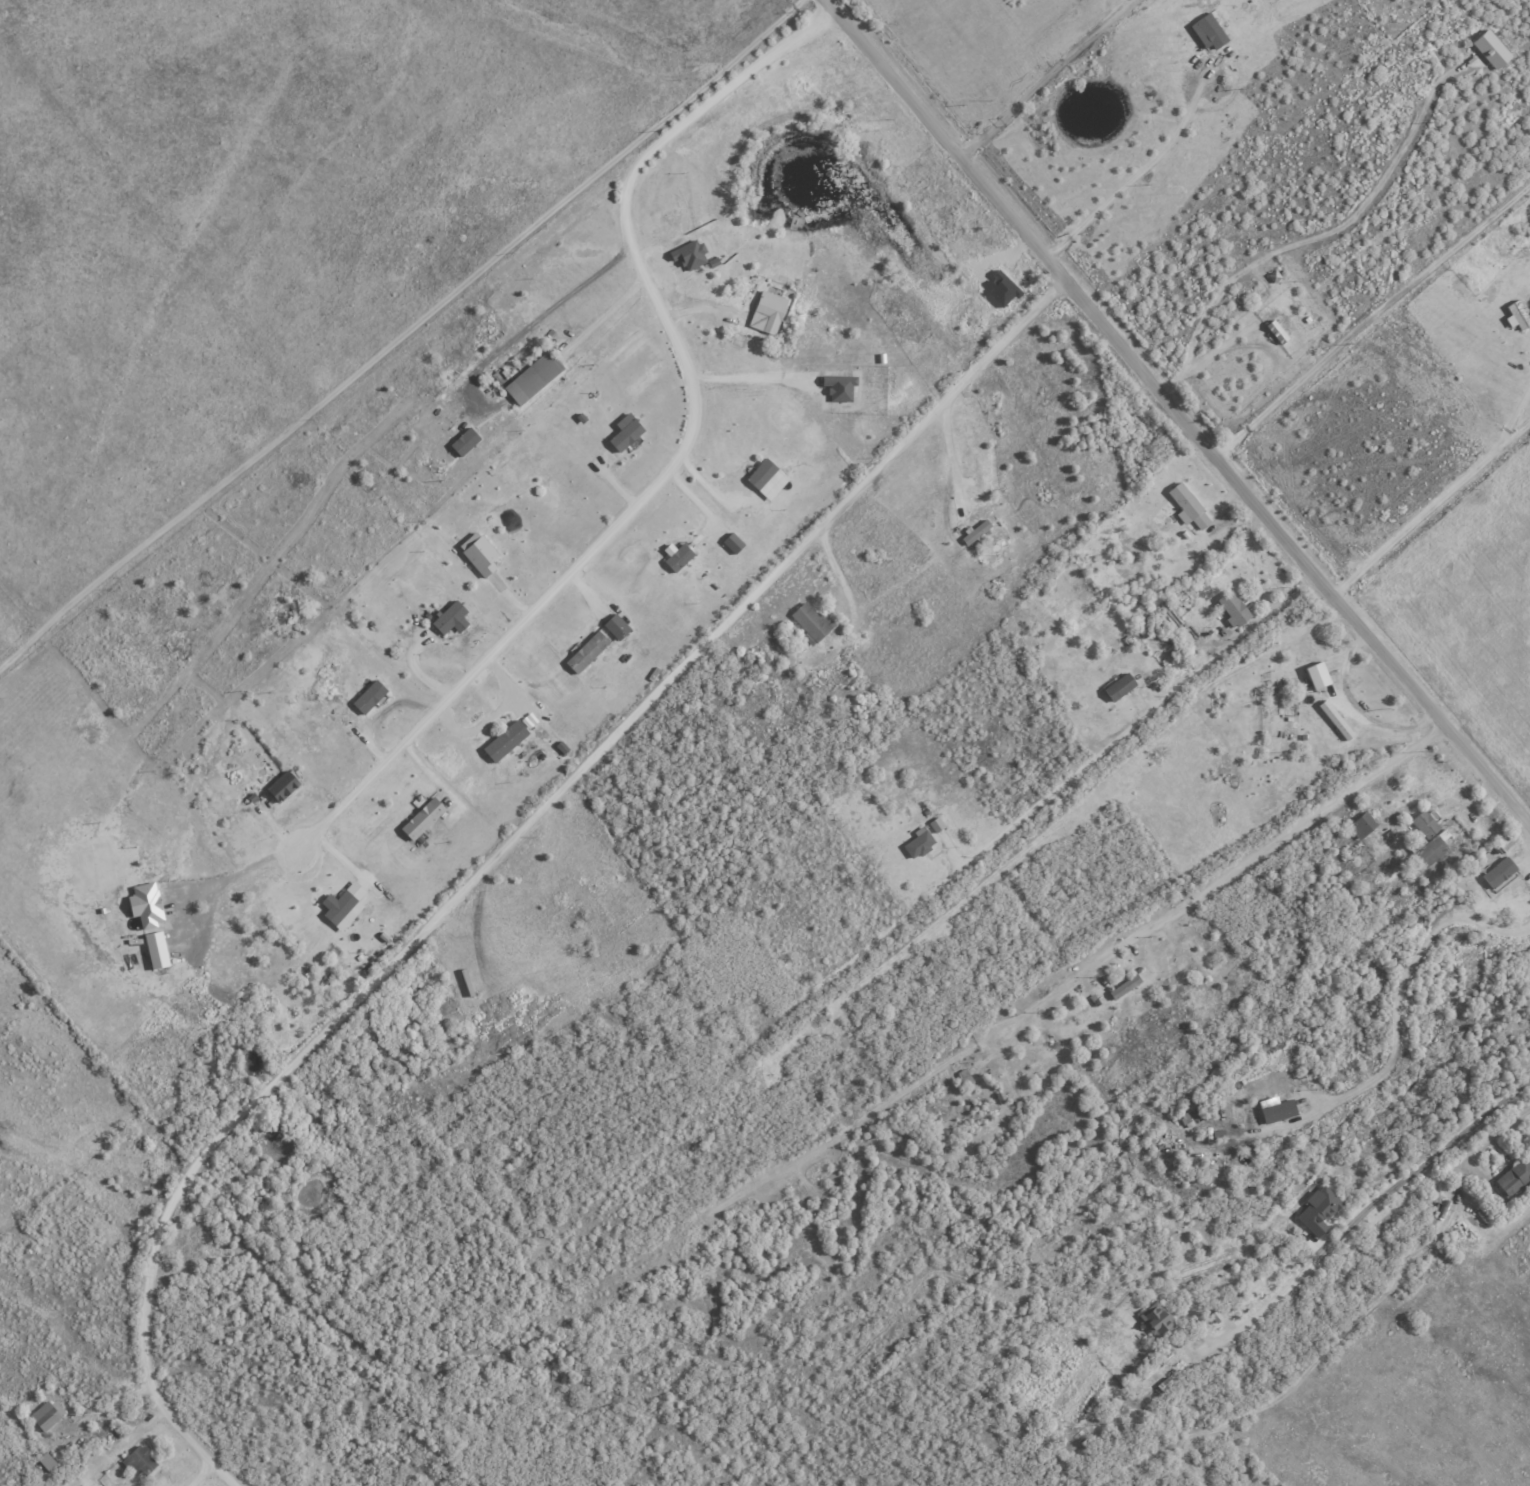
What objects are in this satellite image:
building: (1209, 32)
building: (1492, 49)
road: (1045, 79)
road: (1138, 176)
road: (1339, 228)
building: (689, 255)
building: (768, 312)
road: (607, 313)
building: (1517, 316)
road: (540, 317)
road: (1371, 320)
building: (1276, 332)
road: (401, 336)
road: (1208, 357)
building: (534, 378)
building: (838, 387)
road: (1176, 413)
road: (1514, 416)
building: (625, 433)
building: (464, 442)
road: (685, 449)
road: (948, 455)
building: (766, 479)
building: (1188, 507)
road: (1429, 507)
building: (975, 532)
building: (732, 543)
building: (479, 554)
building: (676, 557)
road: (1249, 559)
road: (845, 597)
building: (1232, 609)
building: (451, 619)
building: (811, 621)
building: (616, 627)
building: (587, 653)
building: (1316, 675)
building: (1119, 687)
building: (369, 697)
road: (1356, 708)
road: (494, 715)
building: (1336, 720)
road: (1135, 721)
building: (505, 741)
building: (282, 786)
building: (422, 819)
building: (1425, 824)
building: (936, 825)
building: (1362, 825)
building: (919, 843)
road: (502, 852)
road: (1256, 857)
building: (1498, 872)
road: (235, 873)
building: (145, 906)
building: (344, 907)
building: (156, 951)
building: (1124, 987)
building: (1277, 1111)
road: (1508, 1125)
building: (1514, 1177)
road: (1369, 1209)
building: (1318, 1210)
building: (1156, 1322)
road: (112, 1404)
building: (47, 1415)
building: (141, 1462)
road: (201, 1473)

